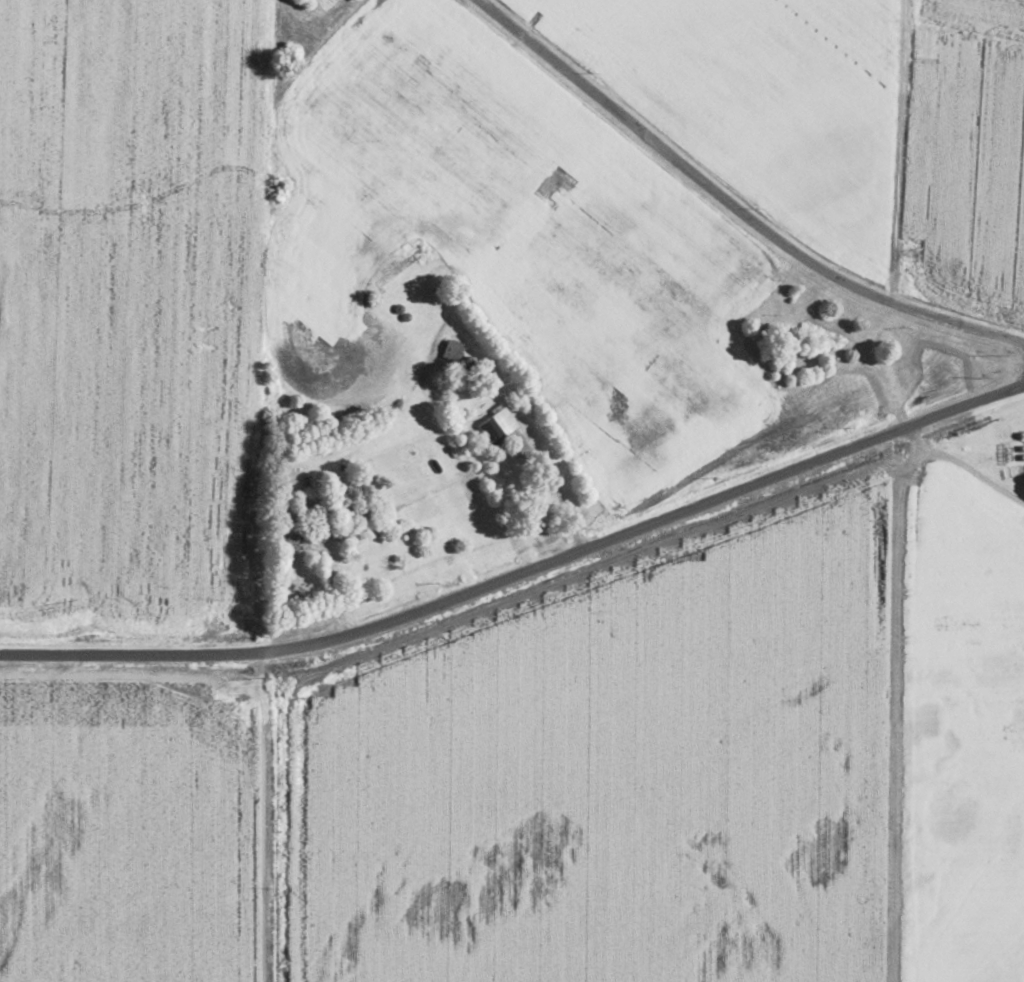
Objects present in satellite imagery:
road: (731, 205)
building: (454, 349)
building: (500, 424)
building: (294, 538)
road: (522, 571)

